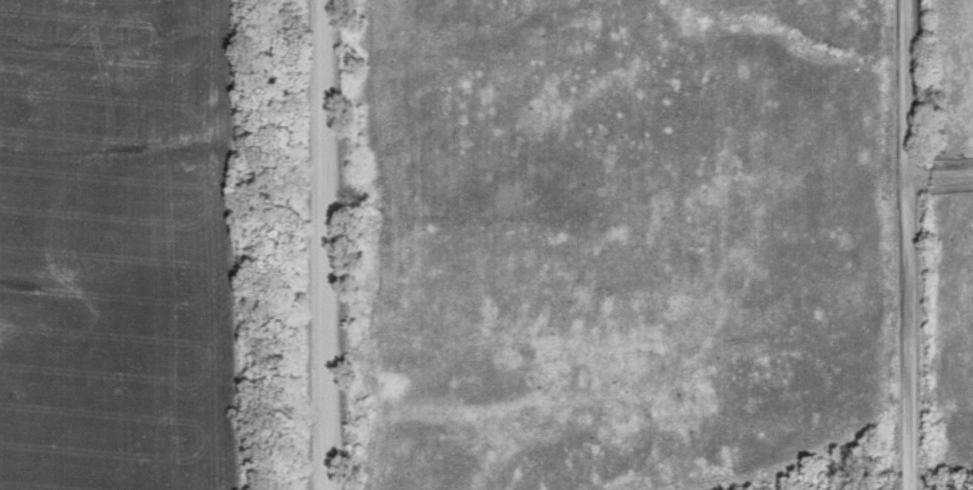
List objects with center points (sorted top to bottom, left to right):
road: (944, 175)
road: (334, 245)
road: (916, 245)

